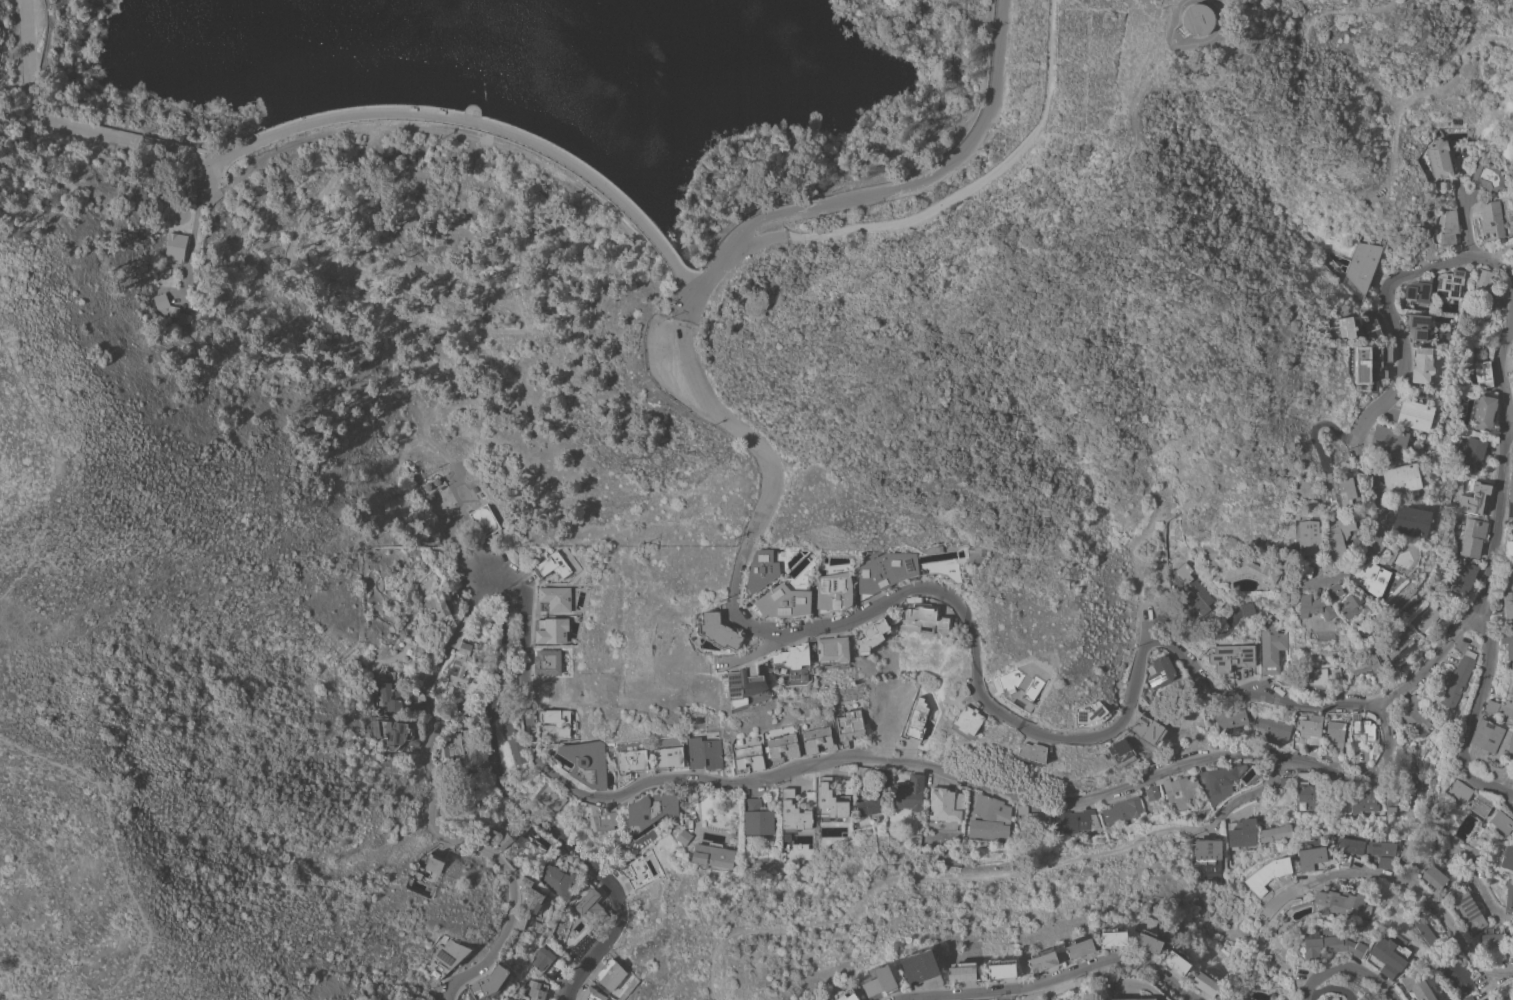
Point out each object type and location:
road: (1363, 9)
building: (1197, 19)
road: (1187, 43)
road: (1303, 61)
road: (1233, 105)
road: (1393, 109)
road: (337, 115)
road: (1330, 154)
building: (1439, 158)
building: (1488, 177)
road: (906, 182)
building: (190, 191)
dam: (196, 199)
road: (942, 201)
road: (1142, 202)
road: (1464, 220)
building: (1491, 220)
building: (1449, 228)
building: (176, 246)
building: (1361, 264)
building: (1449, 284)
building: (1482, 284)
building: (1419, 289)
road: (692, 297)
building: (168, 308)
building: (1480, 311)
building: (1418, 325)
building: (1346, 327)
building: (1373, 327)
building: (1512, 342)
building: (1512, 359)
parking lot: (665, 360)
building: (1368, 365)
building: (1422, 366)
building: (1483, 374)
building: (1512, 383)
road: (32, 393)
road: (1374, 405)
building: (1483, 411)
building: (1415, 415)
road: (1509, 423)
building: (1389, 441)
road: (760, 447)
building: (1471, 450)
building: (1402, 478)
building: (433, 485)
building: (1345, 492)
building: (1510, 498)
building: (1475, 499)
building: (485, 520)
building: (1411, 520)
road: (1496, 528)
road: (42, 535)
building: (1339, 535)
building: (1473, 537)
building: (1309, 539)
road: (466, 549)
building: (1509, 549)
building: (553, 565)
building: (1185, 565)
building: (1247, 568)
building: (761, 569)
building: (1303, 569)
building: (886, 571)
building: (1371, 577)
building: (1465, 577)
building: (1444, 587)
building: (834, 591)
building: (1195, 591)
building: (1335, 591)
building: (1433, 597)
building: (551, 598)
building: (783, 602)
building: (1508, 603)
building: (1353, 604)
building: (438, 605)
building: (1315, 606)
building: (1248, 609)
road: (1145, 616)
building: (1425, 617)
building: (549, 629)
building: (719, 631)
building: (1323, 634)
building: (871, 635)
building: (1508, 643)
building: (1401, 644)
building: (1271, 648)
building: (833, 649)
building: (1155, 650)
road: (748, 651)
building: (793, 656)
building: (1231, 657)
building: (547, 661)
building: (462, 663)
building: (1364, 664)
building: (1161, 671)
building: (1312, 677)
building: (1458, 680)
building: (1022, 681)
building: (744, 684)
building: (396, 697)
building: (1508, 704)
building: (1492, 706)
building: (1090, 714)
building: (1192, 715)
building: (1415, 715)
building: (1228, 716)
building: (557, 720)
building: (917, 720)
building: (968, 722)
building: (850, 724)
building: (1361, 727)
building: (1273, 728)
building: (508, 729)
building: (1149, 730)
building: (1311, 730)
road: (1108, 731)
building: (1335, 733)
building: (402, 734)
building: (1486, 735)
building: (817, 737)
building: (1511, 740)
building: (457, 742)
building: (782, 746)
building: (517, 750)
building: (1118, 752)
building: (705, 753)
building: (1032, 753)
building: (749, 757)
building: (669, 758)
building: (631, 761)
building: (587, 762)
building: (475, 763)
road: (898, 763)
building: (455, 769)
building: (1411, 769)
building: (860, 779)
building: (1220, 781)
building: (1284, 781)
building: (1419, 788)
building: (1459, 790)
building: (1181, 791)
building: (1389, 791)
building: (908, 793)
building: (1152, 793)
building: (1306, 794)
building: (550, 797)
building: (830, 800)
road: (1245, 800)
building: (1366, 801)
building: (945, 804)
building: (1480, 805)
building: (870, 806)
road: (430, 809)
building: (649, 810)
building: (1123, 811)
building: (794, 813)
building: (1051, 814)
road: (528, 817)
building: (990, 818)
building: (1031, 818)
building: (758, 819)
building: (603, 821)
building: (1075, 821)
building: (1502, 821)
building: (521, 825)
building: (1278, 829)
building: (1242, 833)
building: (497, 837)
building: (683, 837)
building: (1456, 842)
road: (118, 845)
building: (1347, 845)
building: (1380, 848)
building: (559, 852)
building: (1476, 852)
building: (712, 855)
building: (1208, 855)
building: (1310, 857)
building: (1411, 857)
building: (1343, 861)
building: (1385, 862)
building: (435, 864)
building: (1512, 864)
building: (640, 869)
building: (1265, 873)
building: (418, 875)
road: (931, 876)
building: (1434, 877)
building: (556, 880)
road: (1412, 885)
building: (530, 894)
building: (1509, 897)
building: (1343, 904)
building: (1427, 906)
building: (1467, 906)
building: (591, 908)
building: (521, 922)
building: (533, 926)
building: (1422, 927)
building: (1113, 937)
building: (1493, 937)
building: (1148, 941)
building: (1079, 946)
building: (1328, 946)
building: (448, 957)
building: (1387, 957)
building: (542, 958)
building: (1042, 959)
building: (1177, 961)
building: (1371, 961)
building: (919, 966)
building: (1002, 969)
road: (1347, 969)
building: (962, 971)
building: (610, 974)
road: (1055, 976)
building: (1458, 976)
building: (879, 980)
building: (1207, 981)
building: (489, 983)
building: (1417, 985)
road: (712, 990)
building: (531, 993)
building: (592, 994)
building: (846, 995)
building: (1466, 997)
building: (1129, 999)
building: (1289, 999)
building: (1485, 999)
building: (1487, 999)
building: (1506, 999)

